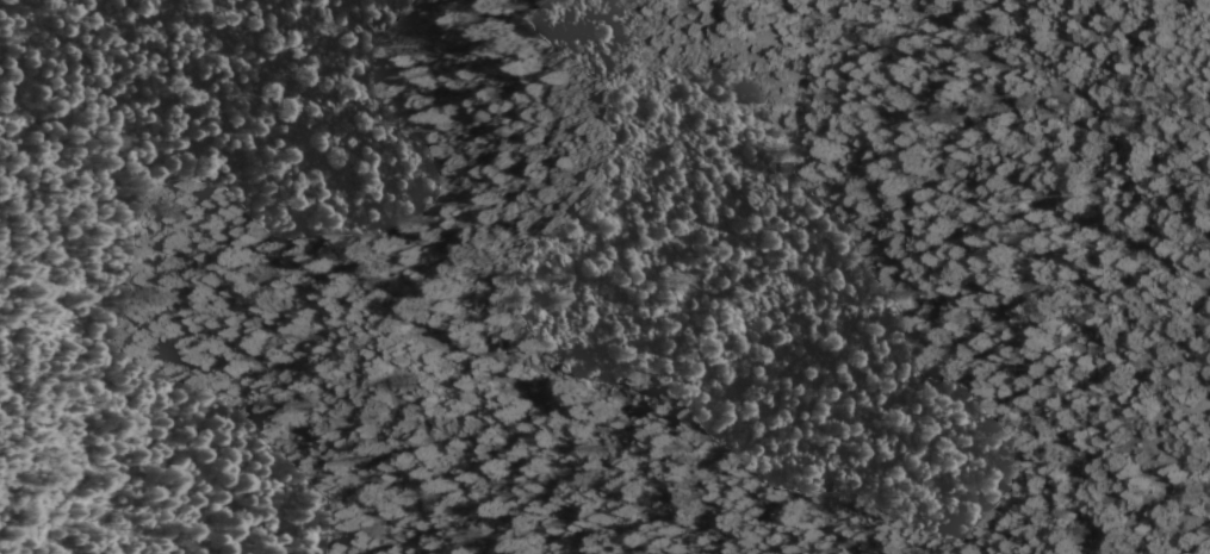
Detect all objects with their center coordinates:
road: (36, 142)
road: (86, 368)

